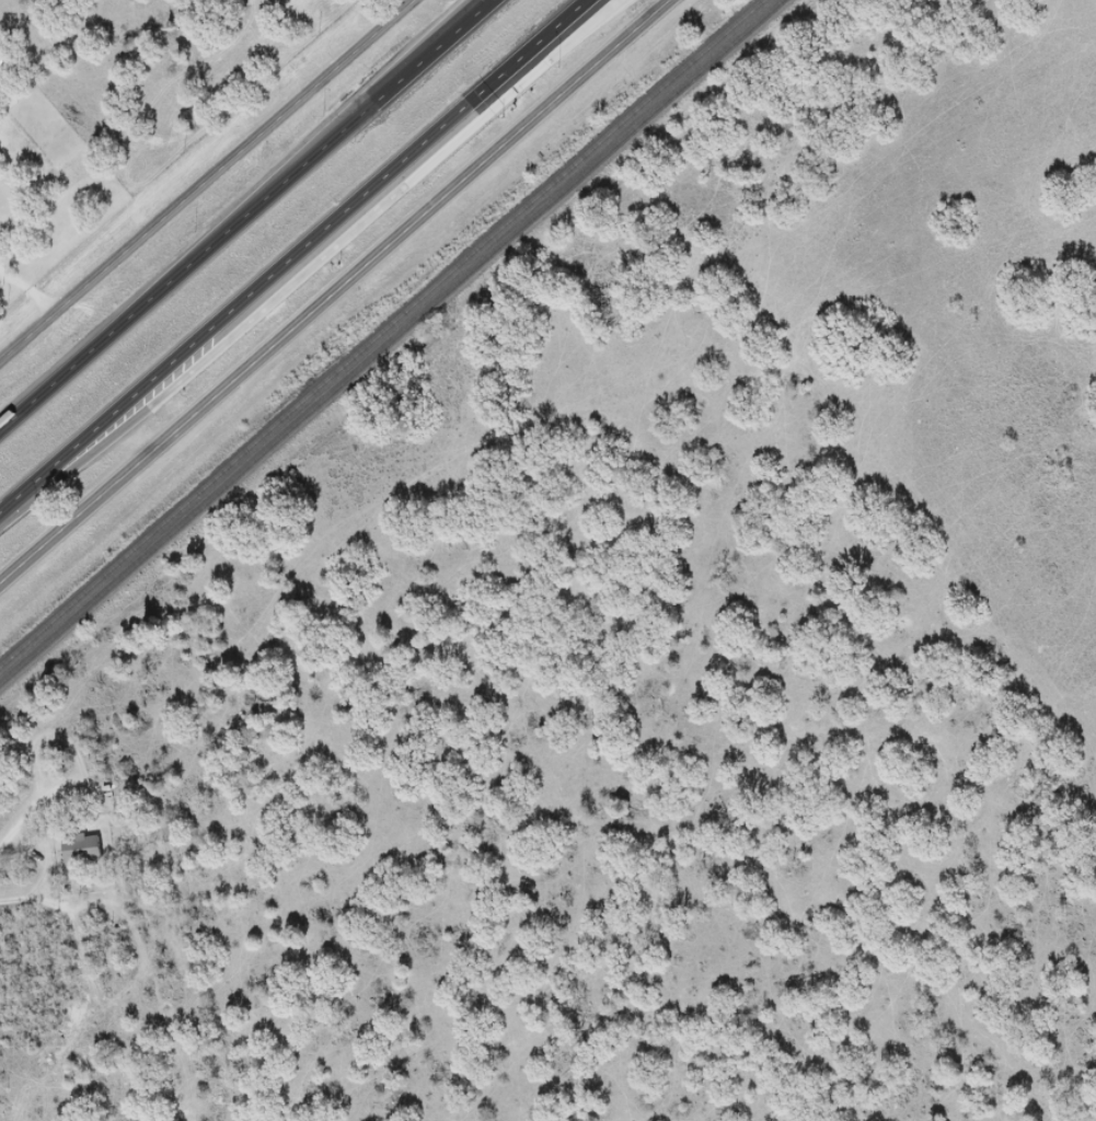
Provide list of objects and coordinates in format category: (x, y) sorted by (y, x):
road: (208, 182)
road: (244, 215)
road: (292, 255)
road: (334, 290)
railway: (379, 330)
railway: (392, 342)
building: (80, 848)
road: (84, 971)
building: (73, 1010)

